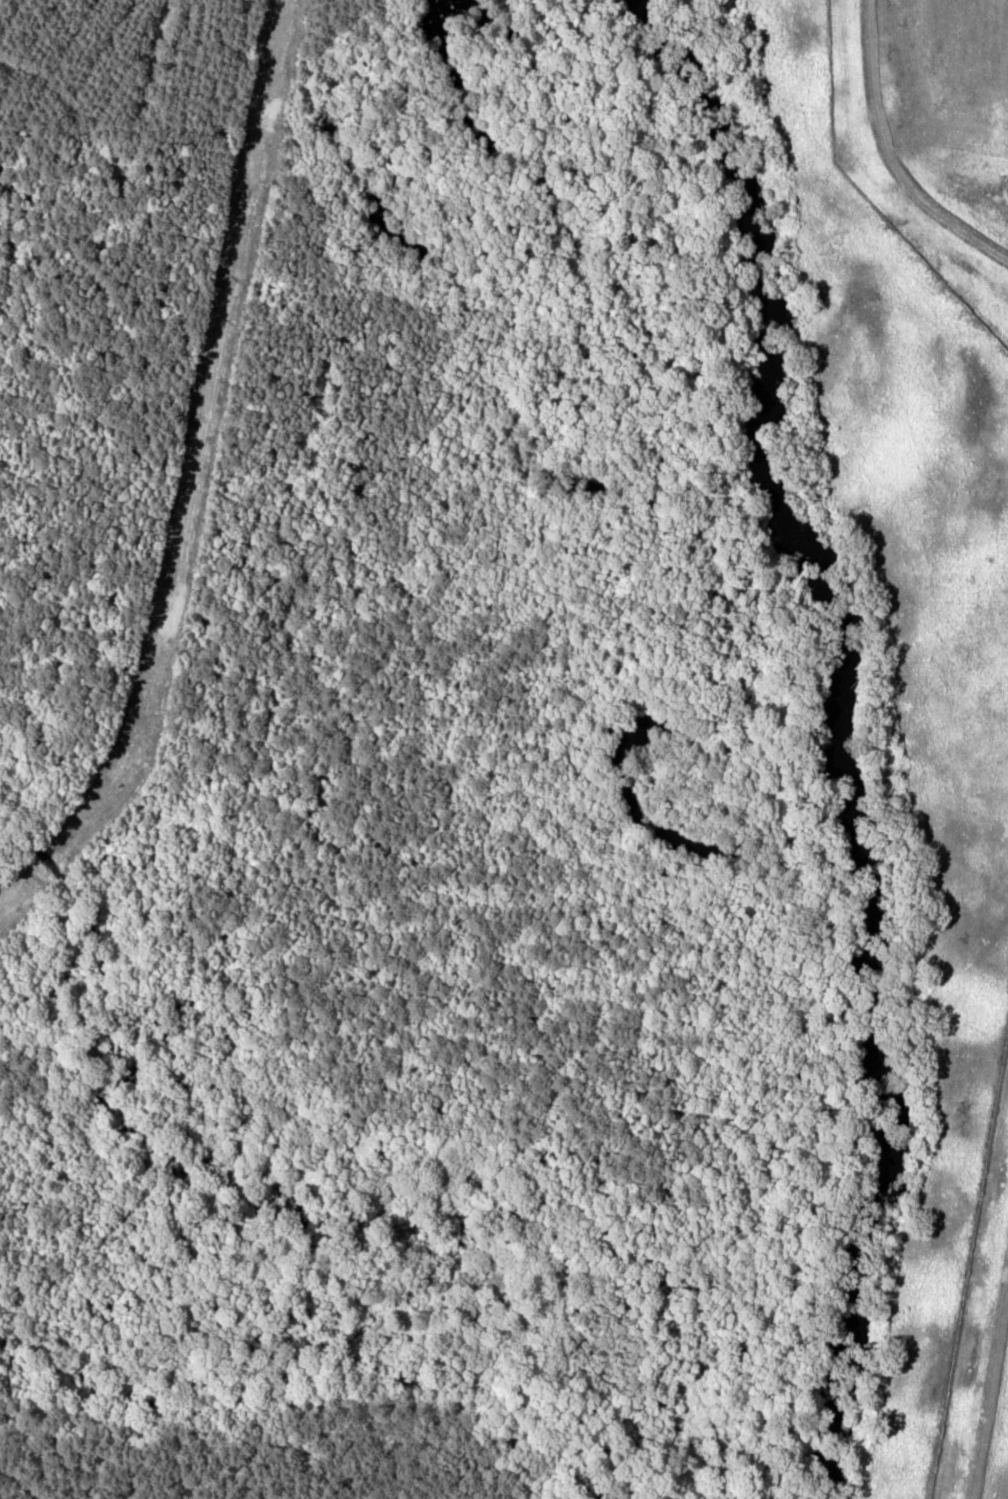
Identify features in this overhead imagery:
airport: (936, 104)
river: (829, 736)
airport: (983, 1355)

